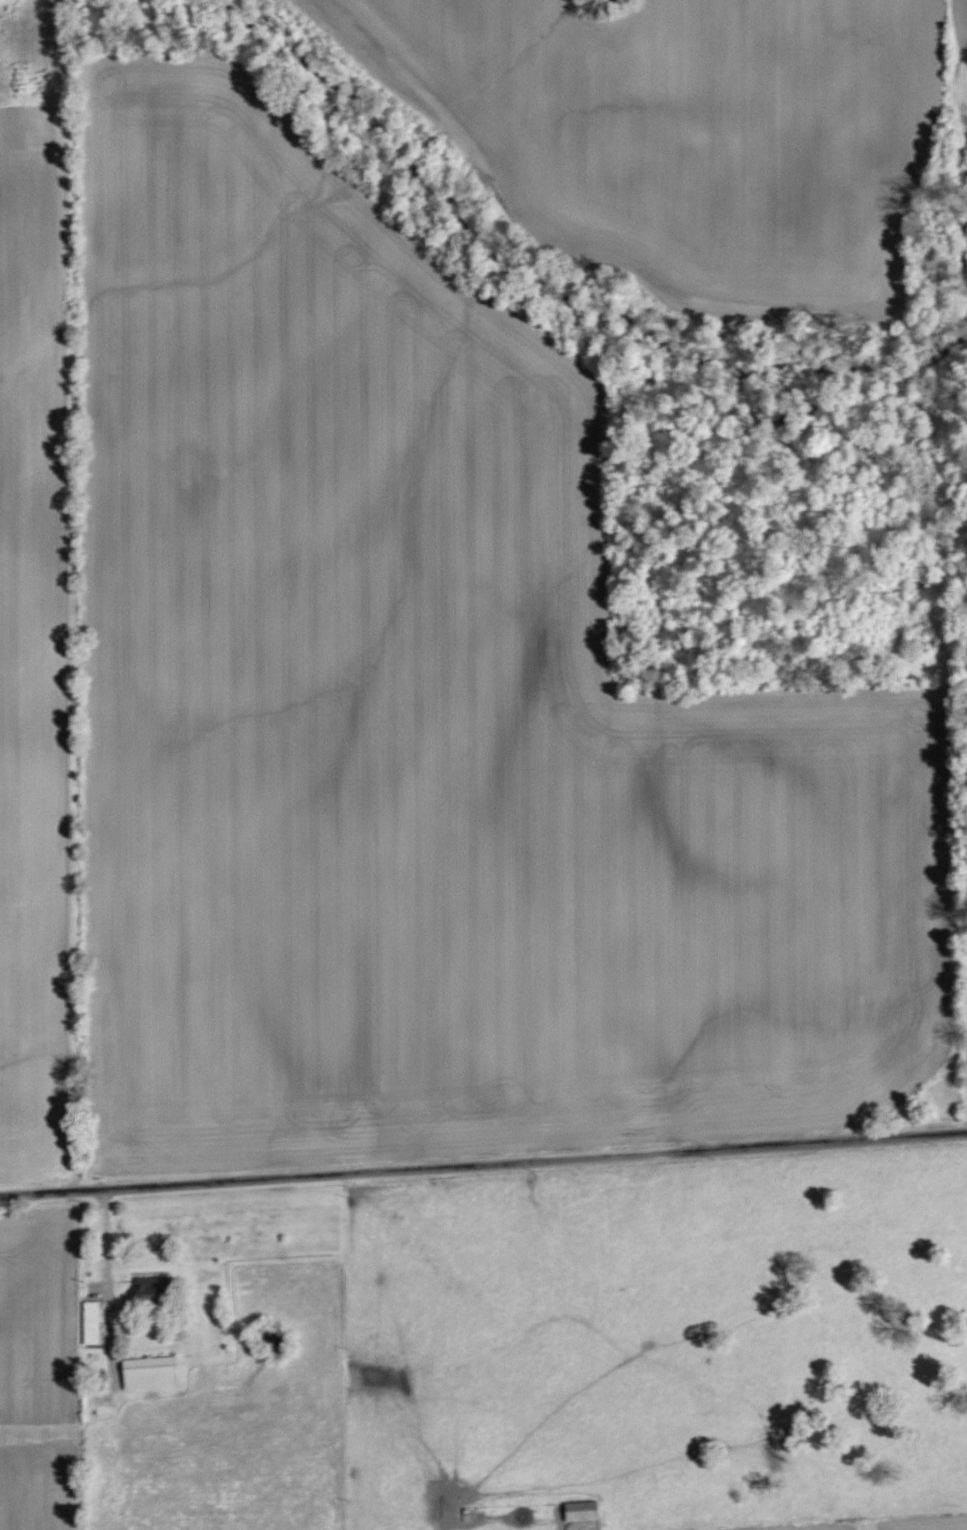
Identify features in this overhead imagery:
road: (483, 1164)
building: (151, 1288)
building: (90, 1323)
road: (447, 1342)
building: (149, 1373)
building: (580, 1510)
road: (456, 1528)

